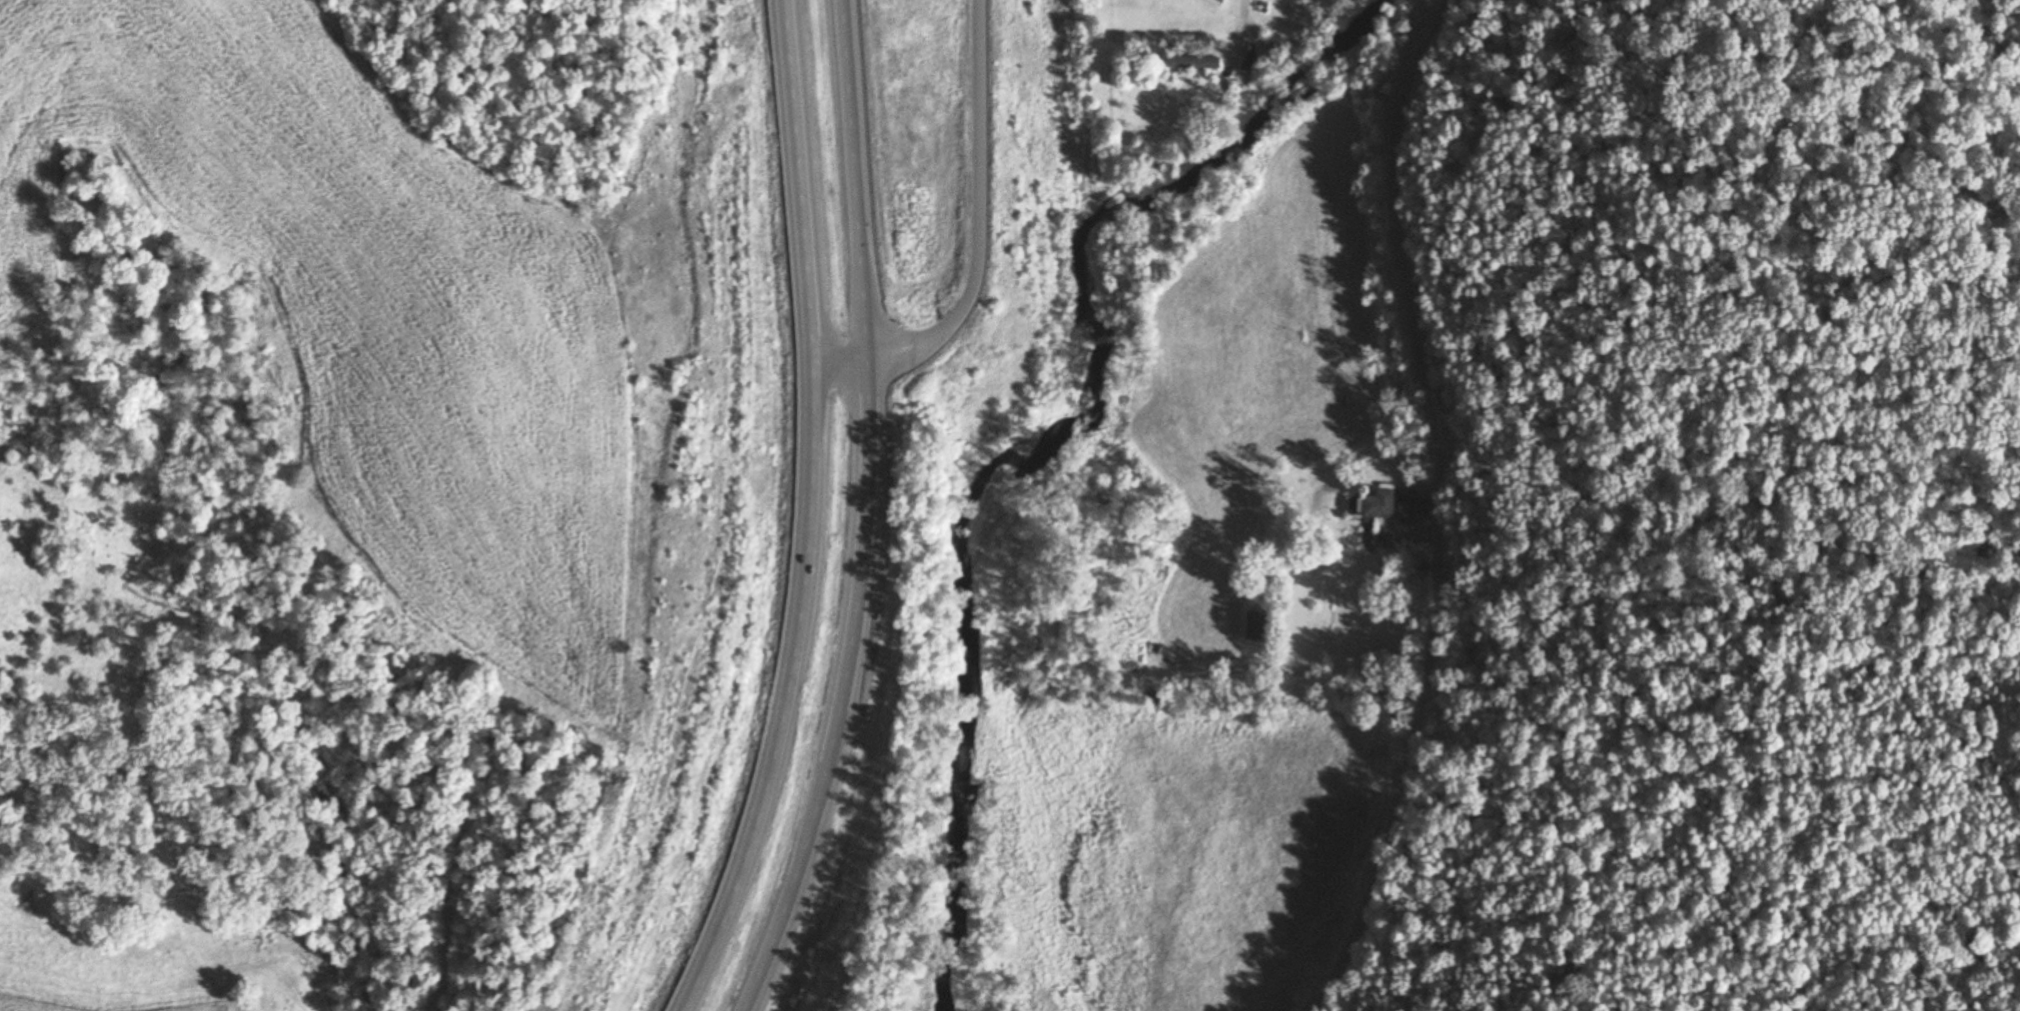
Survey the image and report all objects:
building: (1218, 3)
road: (1239, 20)
building: (1278, 53)
building: (1196, 62)
road: (989, 244)
building: (1371, 505)
building: (1401, 507)
road: (1438, 507)
road: (870, 513)
road: (810, 514)
building: (1251, 626)

